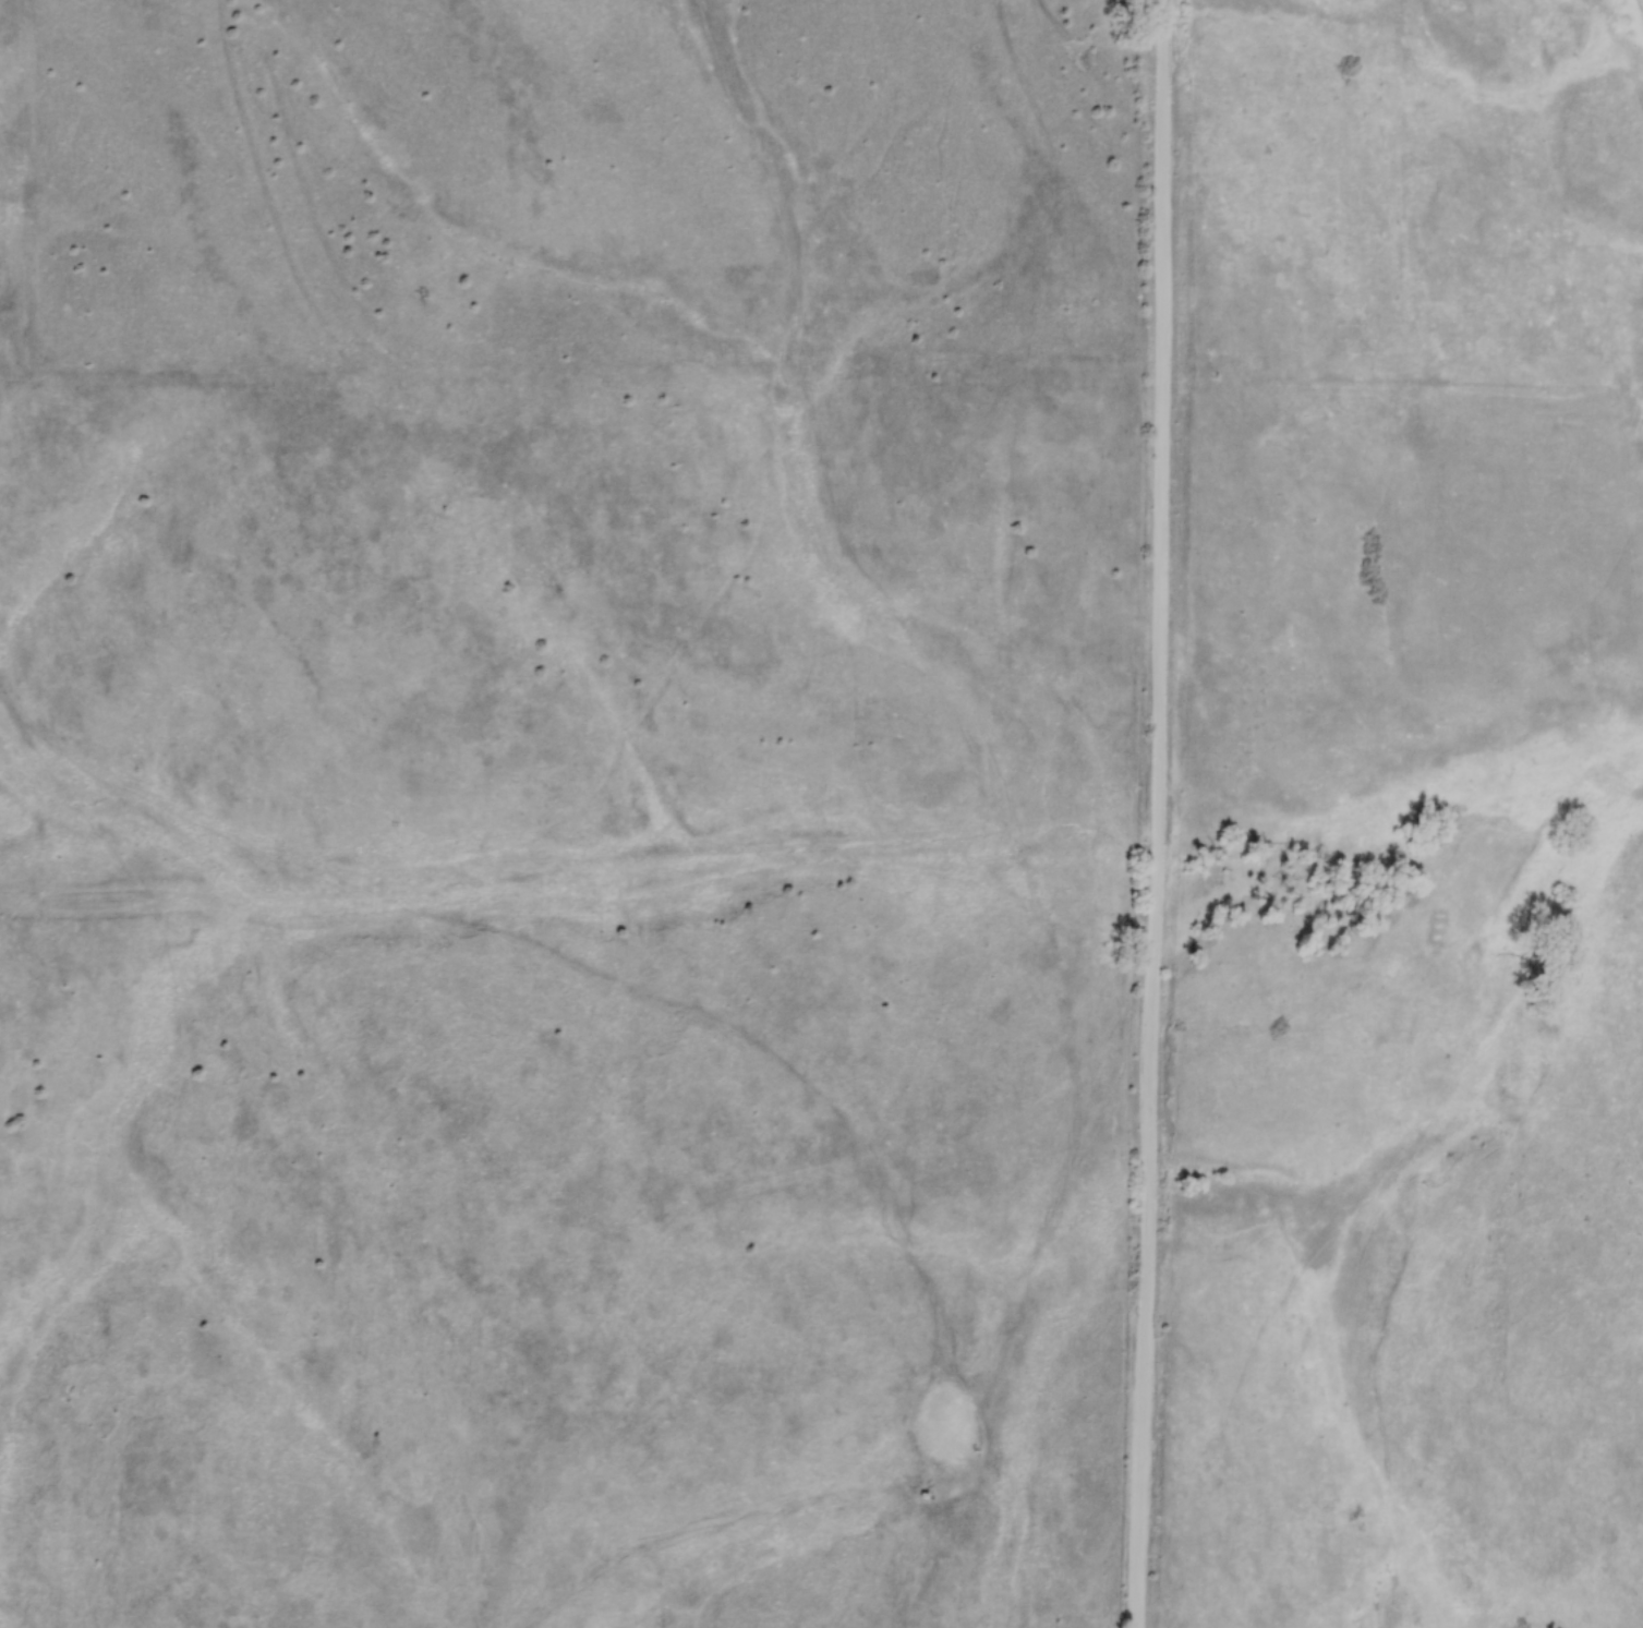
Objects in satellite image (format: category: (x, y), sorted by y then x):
road: (1158, 813)

